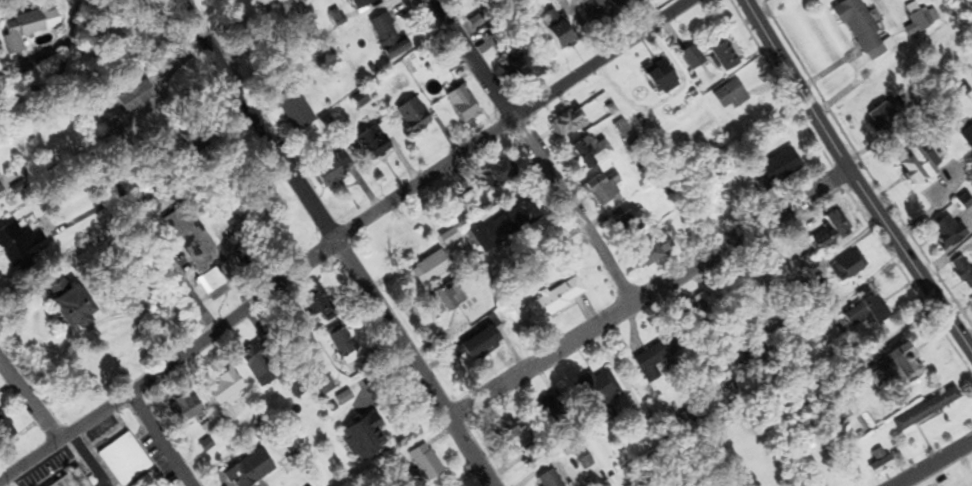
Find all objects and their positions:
building: (352, 4)
building: (581, 10)
building: (558, 23)
building: (852, 25)
building: (13, 30)
building: (381, 37)
building: (685, 57)
road: (595, 59)
building: (513, 70)
building: (653, 78)
building: (724, 95)
building: (124, 97)
building: (355, 100)
building: (457, 104)
building: (292, 113)
building: (407, 116)
building: (880, 117)
building: (561, 123)
building: (618, 132)
building: (965, 137)
building: (369, 143)
building: (580, 154)
road: (532, 155)
building: (914, 164)
building: (769, 171)
building: (328, 173)
building: (490, 173)
road: (850, 181)
building: (597, 192)
building: (621, 221)
building: (825, 227)
building: (491, 231)
building: (940, 231)
road: (740, 241)
building: (16, 244)
road: (327, 245)
building: (195, 247)
building: (639, 256)
building: (423, 268)
building: (840, 268)
building: (961, 271)
building: (769, 276)
building: (443, 294)
road: (252, 295)
building: (550, 299)
building: (969, 300)
building: (63, 309)
building: (858, 311)
building: (466, 346)
building: (654, 357)
road: (537, 364)
building: (891, 365)
building: (312, 380)
building: (215, 387)
building: (595, 389)
road: (27, 401)
building: (825, 406)
building: (178, 409)
building: (923, 410)
building: (501, 433)
building: (354, 437)
road: (156, 438)
building: (120, 459)
building: (872, 463)
road: (932, 463)
building: (414, 464)
building: (241, 469)
building: (68, 479)
building: (544, 480)

